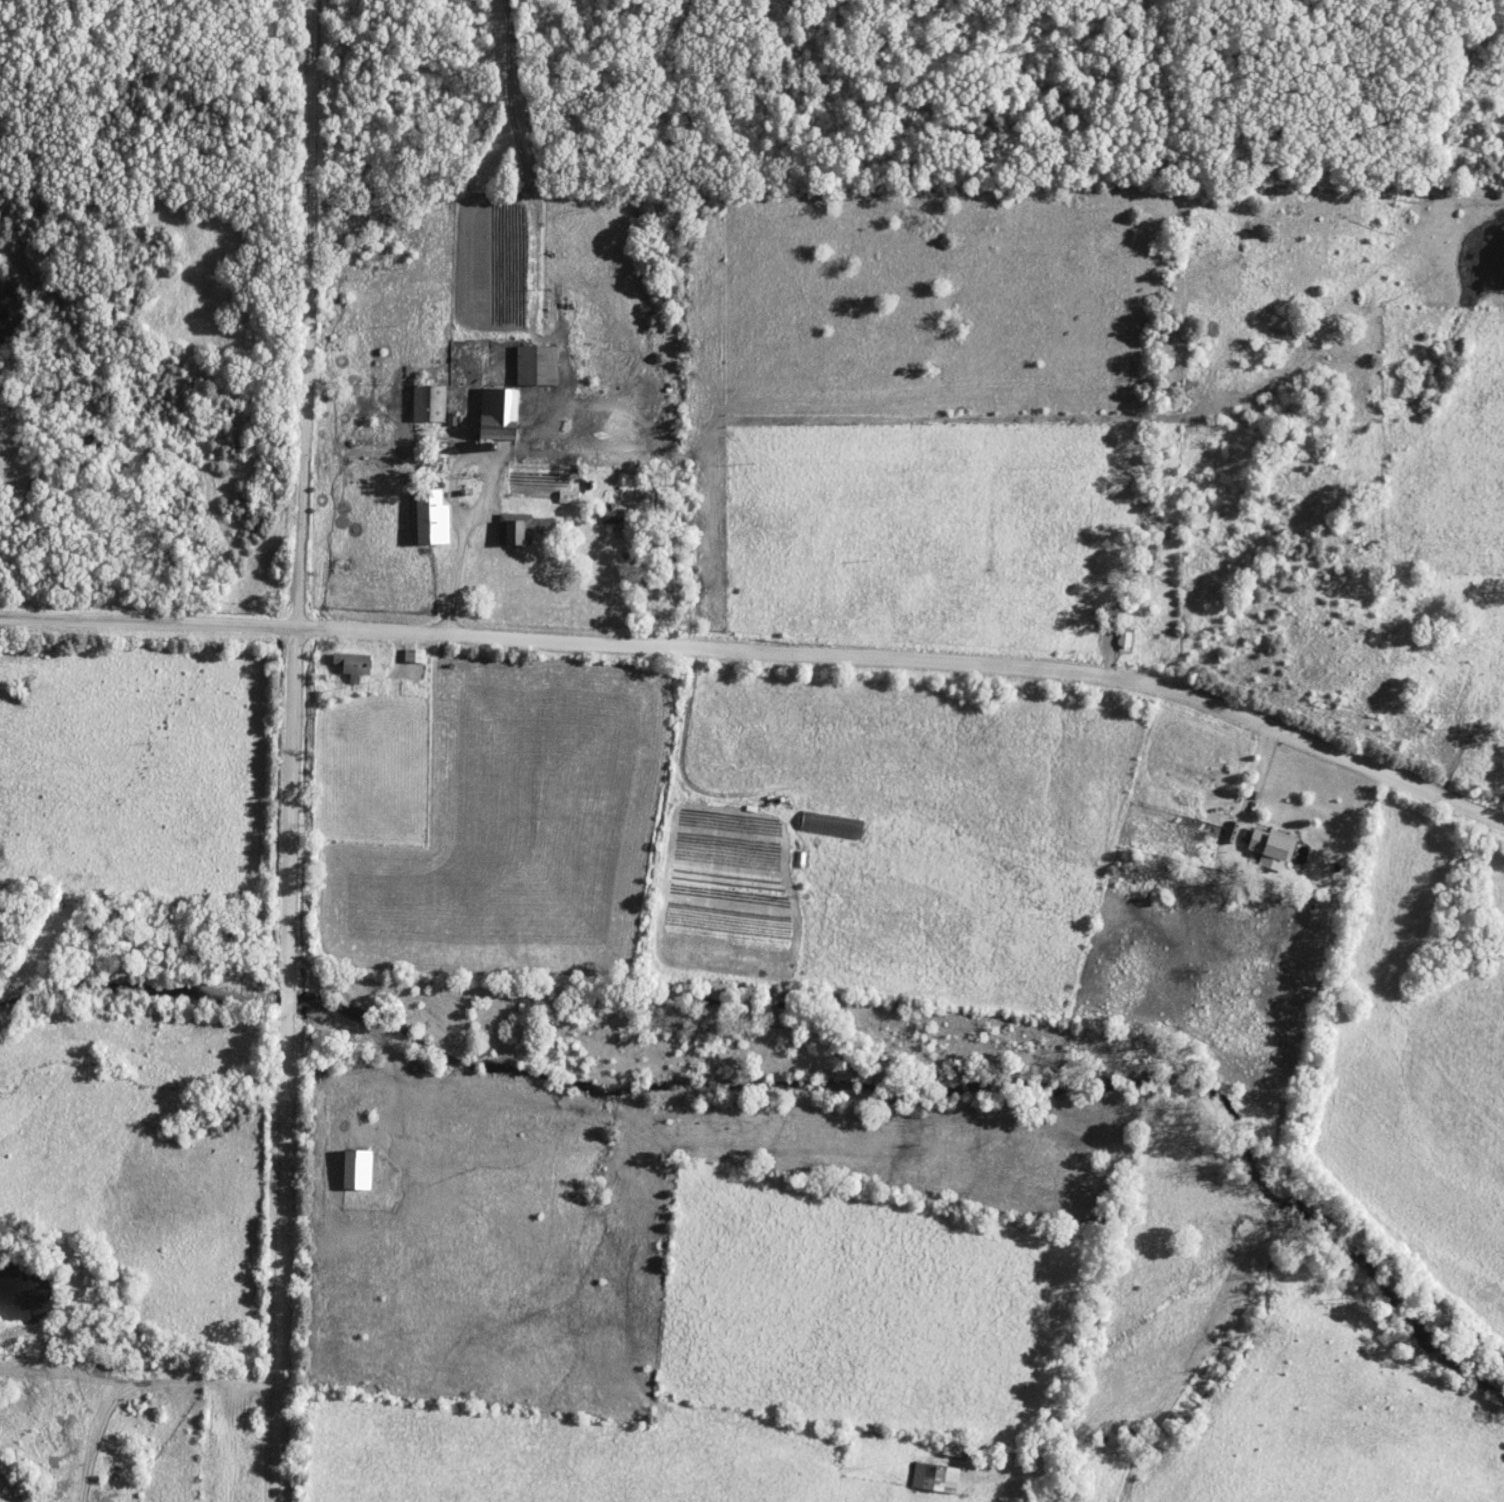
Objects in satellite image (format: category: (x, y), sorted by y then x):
building: (540, 366)
building: (431, 404)
building: (501, 415)
road: (448, 480)
building: (570, 498)
building: (435, 519)
building: (518, 534)
road: (449, 584)
road: (148, 619)
building: (1126, 640)
road: (913, 654)
building: (416, 657)
building: (356, 666)
road: (295, 750)
road: (1266, 768)
building: (1274, 849)
building: (360, 1172)
road: (681, 1183)
road: (142, 1380)

